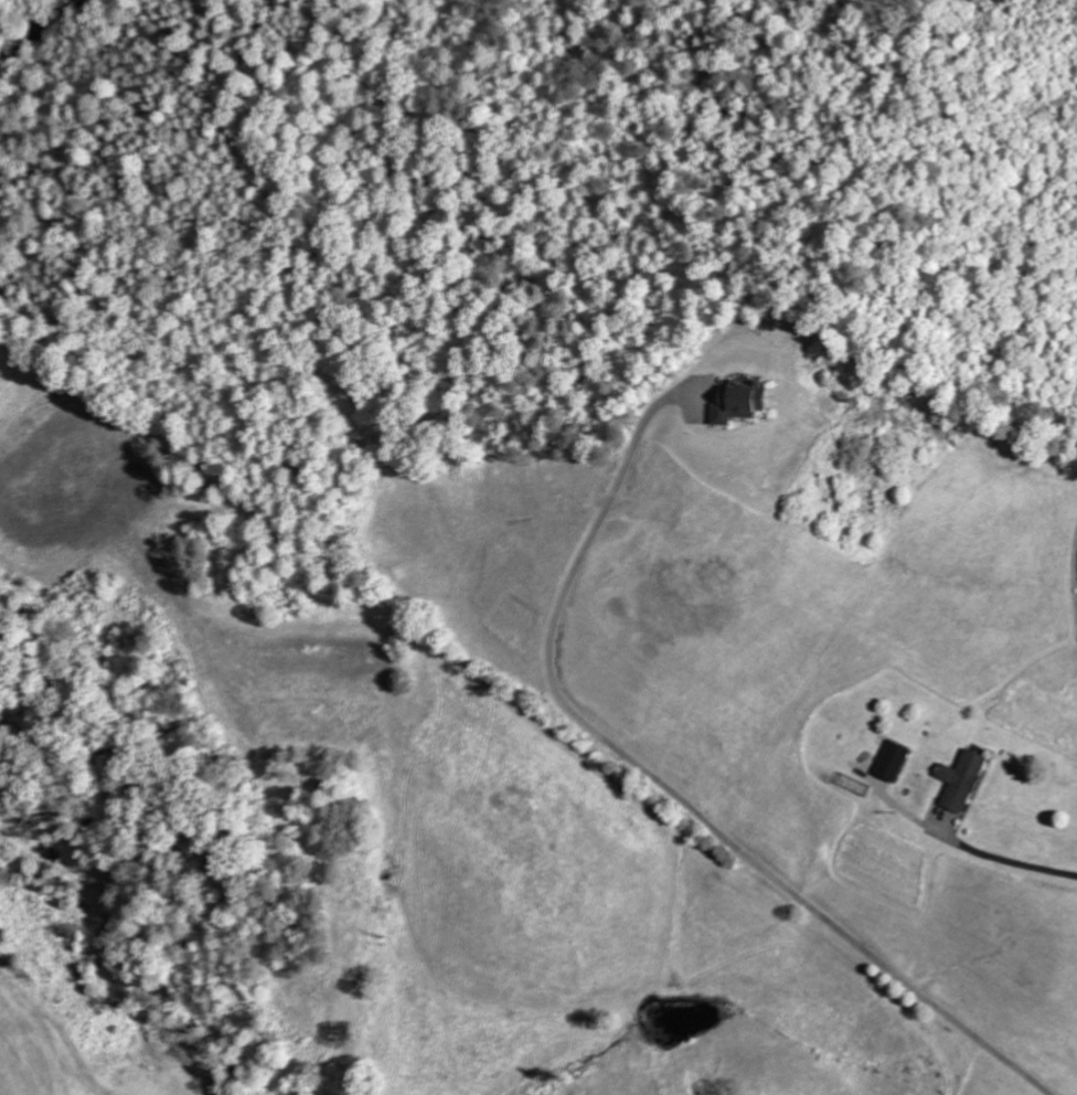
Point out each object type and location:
building: (735, 401)
building: (892, 762)
building: (961, 780)

